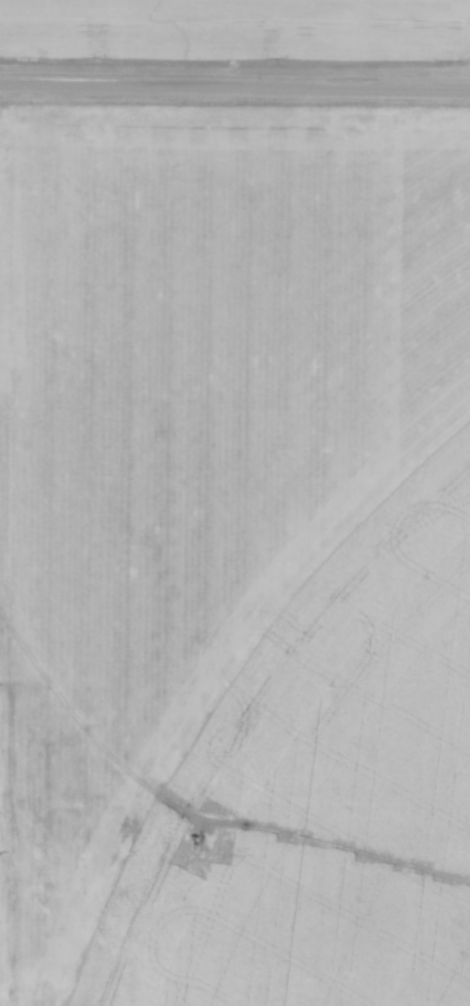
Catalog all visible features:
crop: (240, 27)
road: (235, 89)
crop: (190, 443)
crop: (326, 789)

